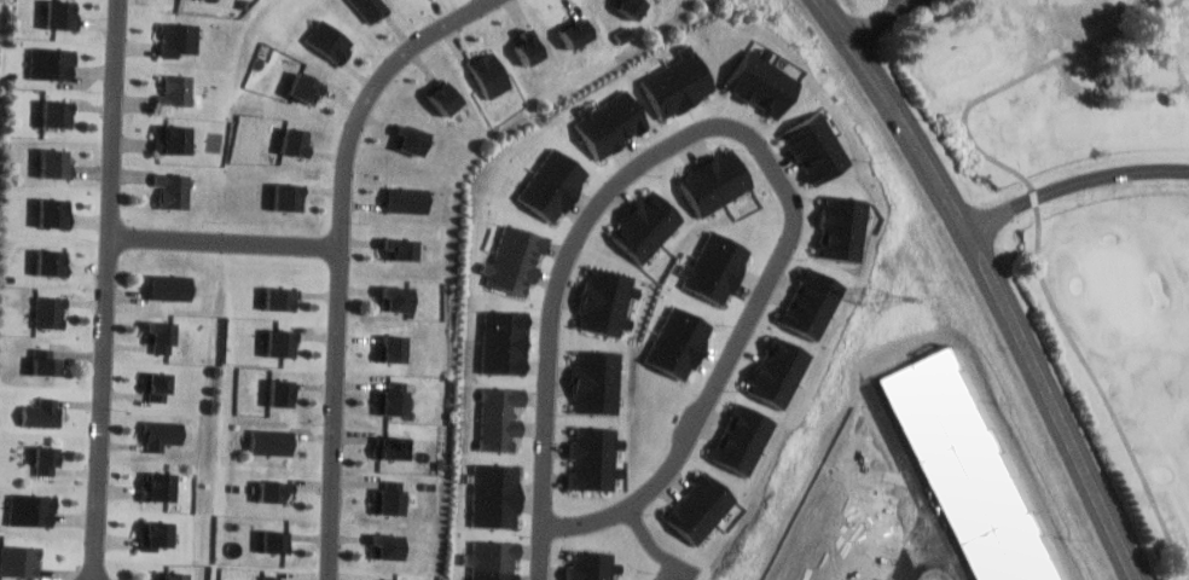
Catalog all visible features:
building: (632, 6)
building: (375, 8)
building: (62, 14)
road: (880, 18)
building: (580, 31)
building: (182, 37)
building: (330, 40)
road: (1174, 47)
building: (534, 48)
building: (52, 60)
building: (493, 75)
building: (677, 82)
building: (307, 85)
building: (761, 85)
building: (180, 91)
building: (448, 97)
building: (58, 111)
building: (613, 122)
building: (175, 139)
building: (413, 139)
building: (294, 141)
building: (816, 147)
building: (57, 163)
road: (633, 167)
building: (715, 180)
building: (555, 181)
road: (1073, 185)
building: (178, 192)
building: (291, 197)
building: (414, 197)
park: (1081, 210)
building: (52, 211)
road: (1040, 220)
building: (645, 226)
building: (842, 228)
road: (227, 242)
building: (407, 246)
building: (516, 256)
road: (344, 257)
building: (47, 260)
building: (715, 265)
road: (991, 283)
park: (1121, 285)
road: (106, 289)
building: (173, 289)
building: (284, 297)
building: (401, 300)
building: (608, 300)
building: (811, 306)
building: (51, 312)
building: (161, 329)
building: (506, 340)
building: (680, 340)
building: (285, 341)
building: (398, 347)
building: (47, 360)
building: (778, 372)
building: (158, 379)
building: (598, 382)
building: (284, 391)
building: (398, 401)
building: (43, 411)
building: (500, 419)
building: (162, 434)
building: (742, 434)
building: (274, 440)
building: (394, 445)
building: (45, 453)
building: (597, 460)
building: (968, 470)
building: (162, 485)
building: (275, 491)
building: (497, 494)
road: (643, 497)
building: (393, 500)
building: (703, 506)
building: (30, 509)
building: (156, 535)
building: (277, 541)
building: (388, 545)
road: (655, 545)
road: (942, 555)
building: (19, 559)
building: (494, 561)
building: (592, 565)
building: (173, 576)

